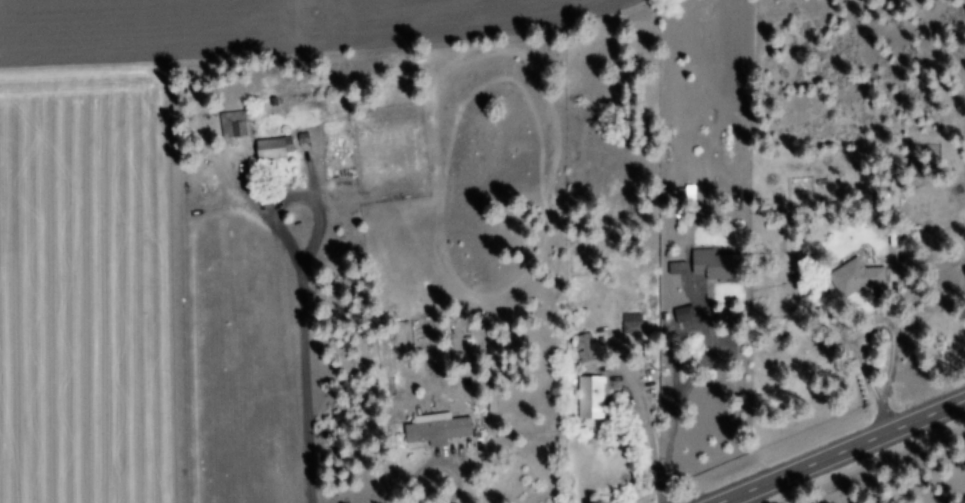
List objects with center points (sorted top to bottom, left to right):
building: (232, 126)
building: (272, 151)
road: (771, 241)
building: (715, 267)
building: (677, 270)
building: (855, 279)
building: (682, 316)
building: (631, 326)
building: (590, 399)
building: (437, 432)
road: (848, 454)

